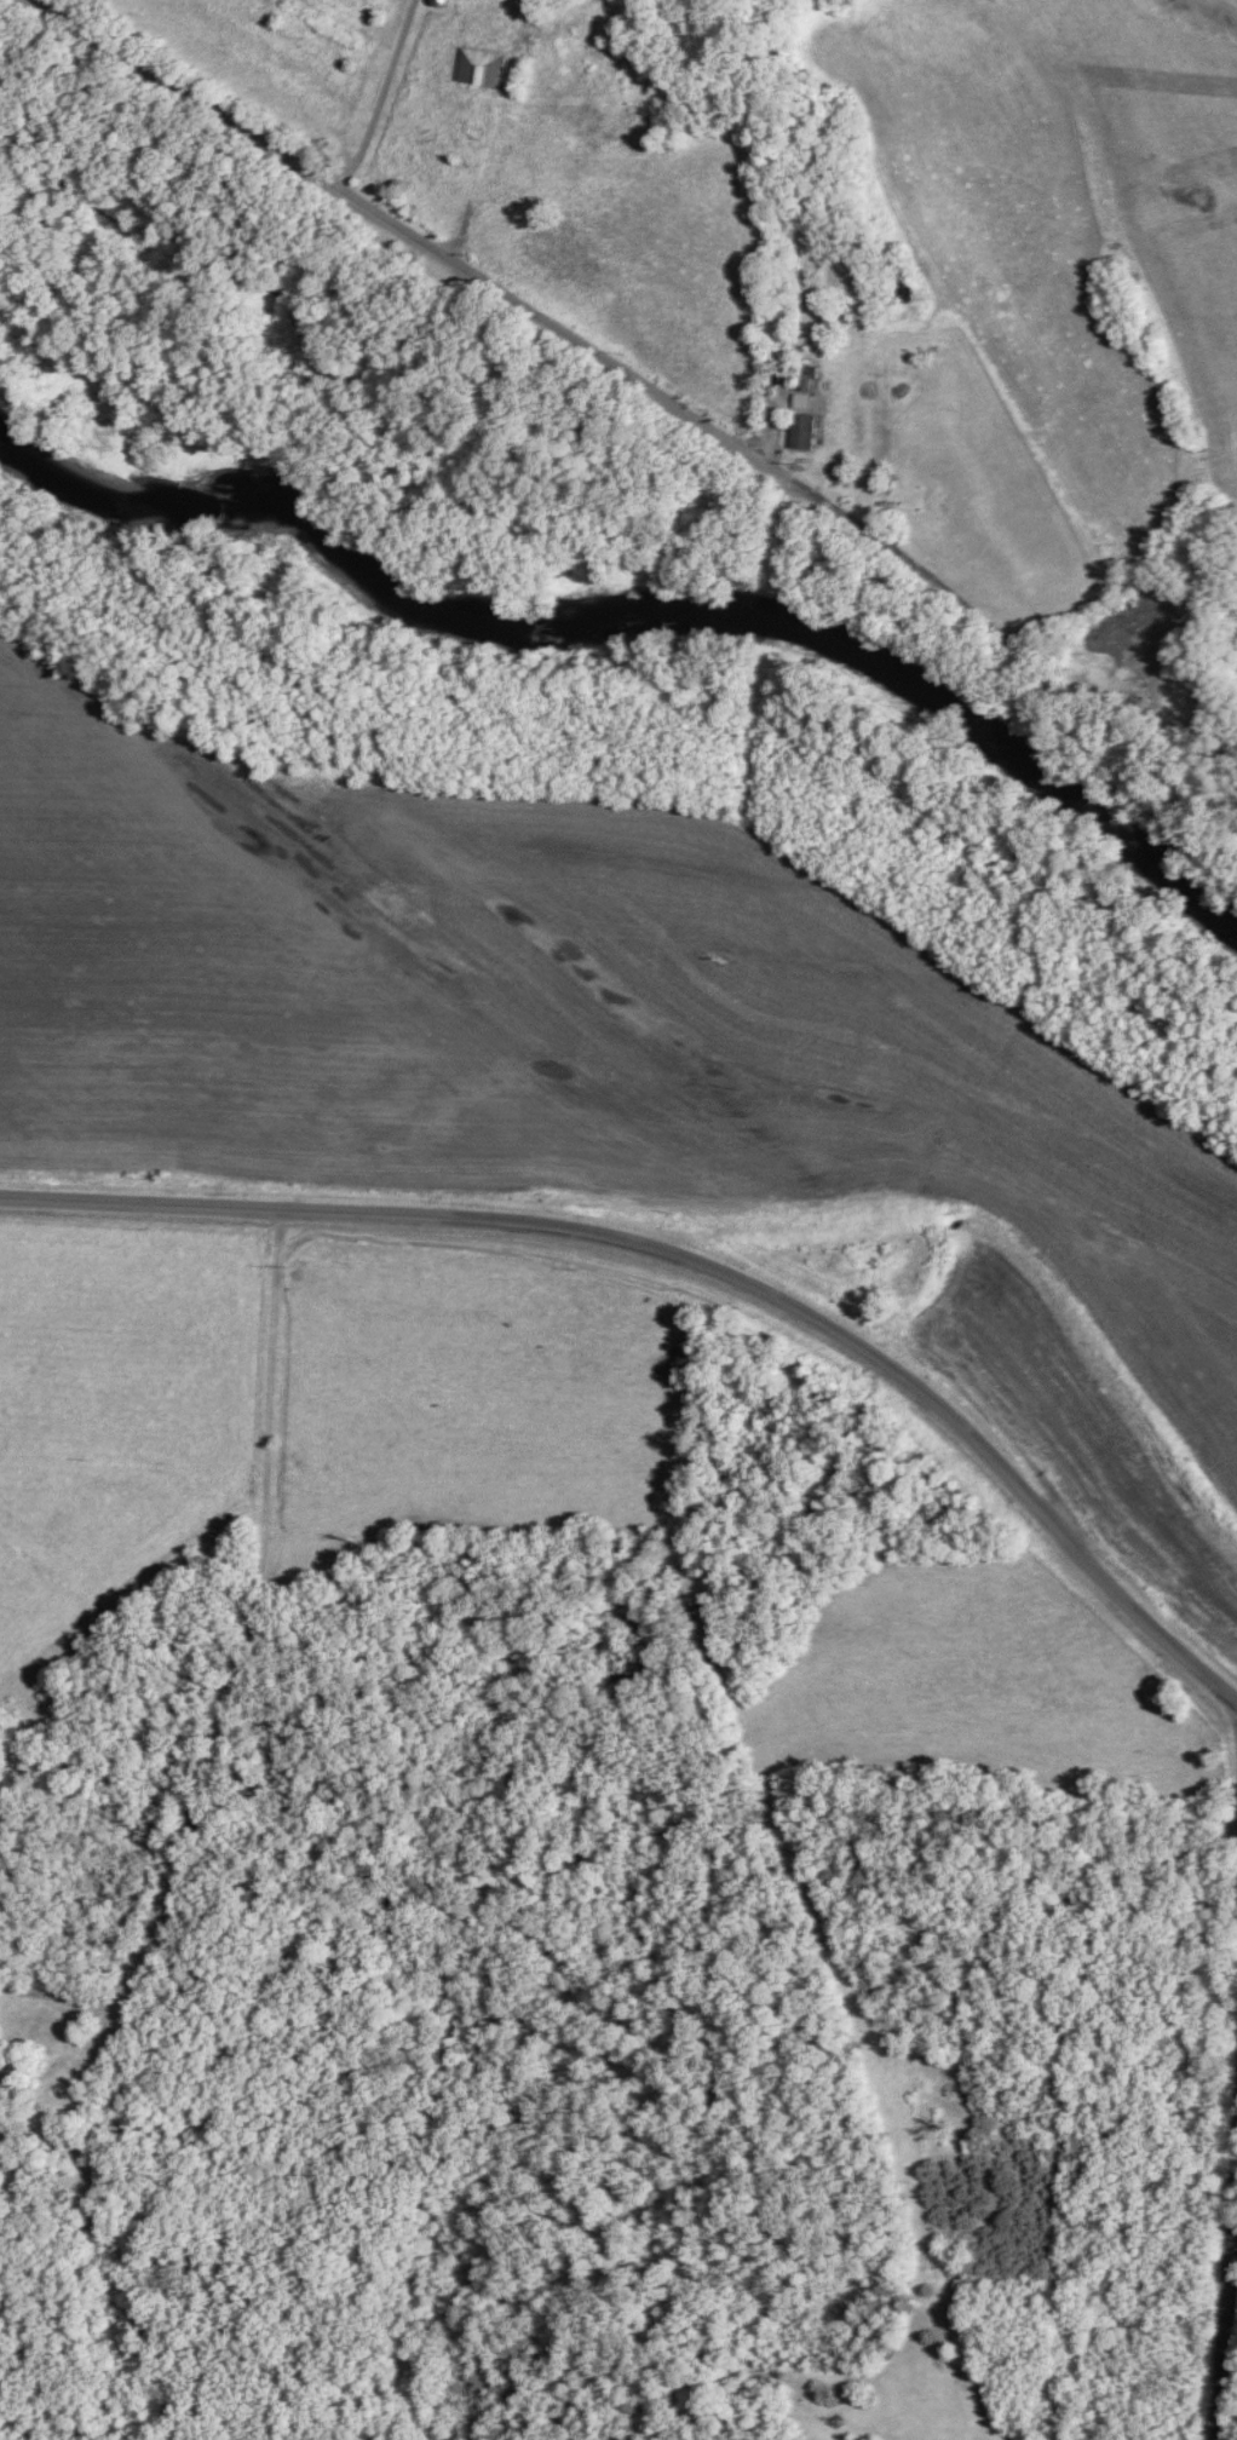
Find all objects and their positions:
building: (478, 67)
road: (478, 184)
road: (464, 274)
building: (801, 380)
building: (800, 432)
building: (884, 482)
river: (638, 621)
road: (695, 1260)
road: (242, 1675)
building: (0, 2087)
road: (1233, 2340)

